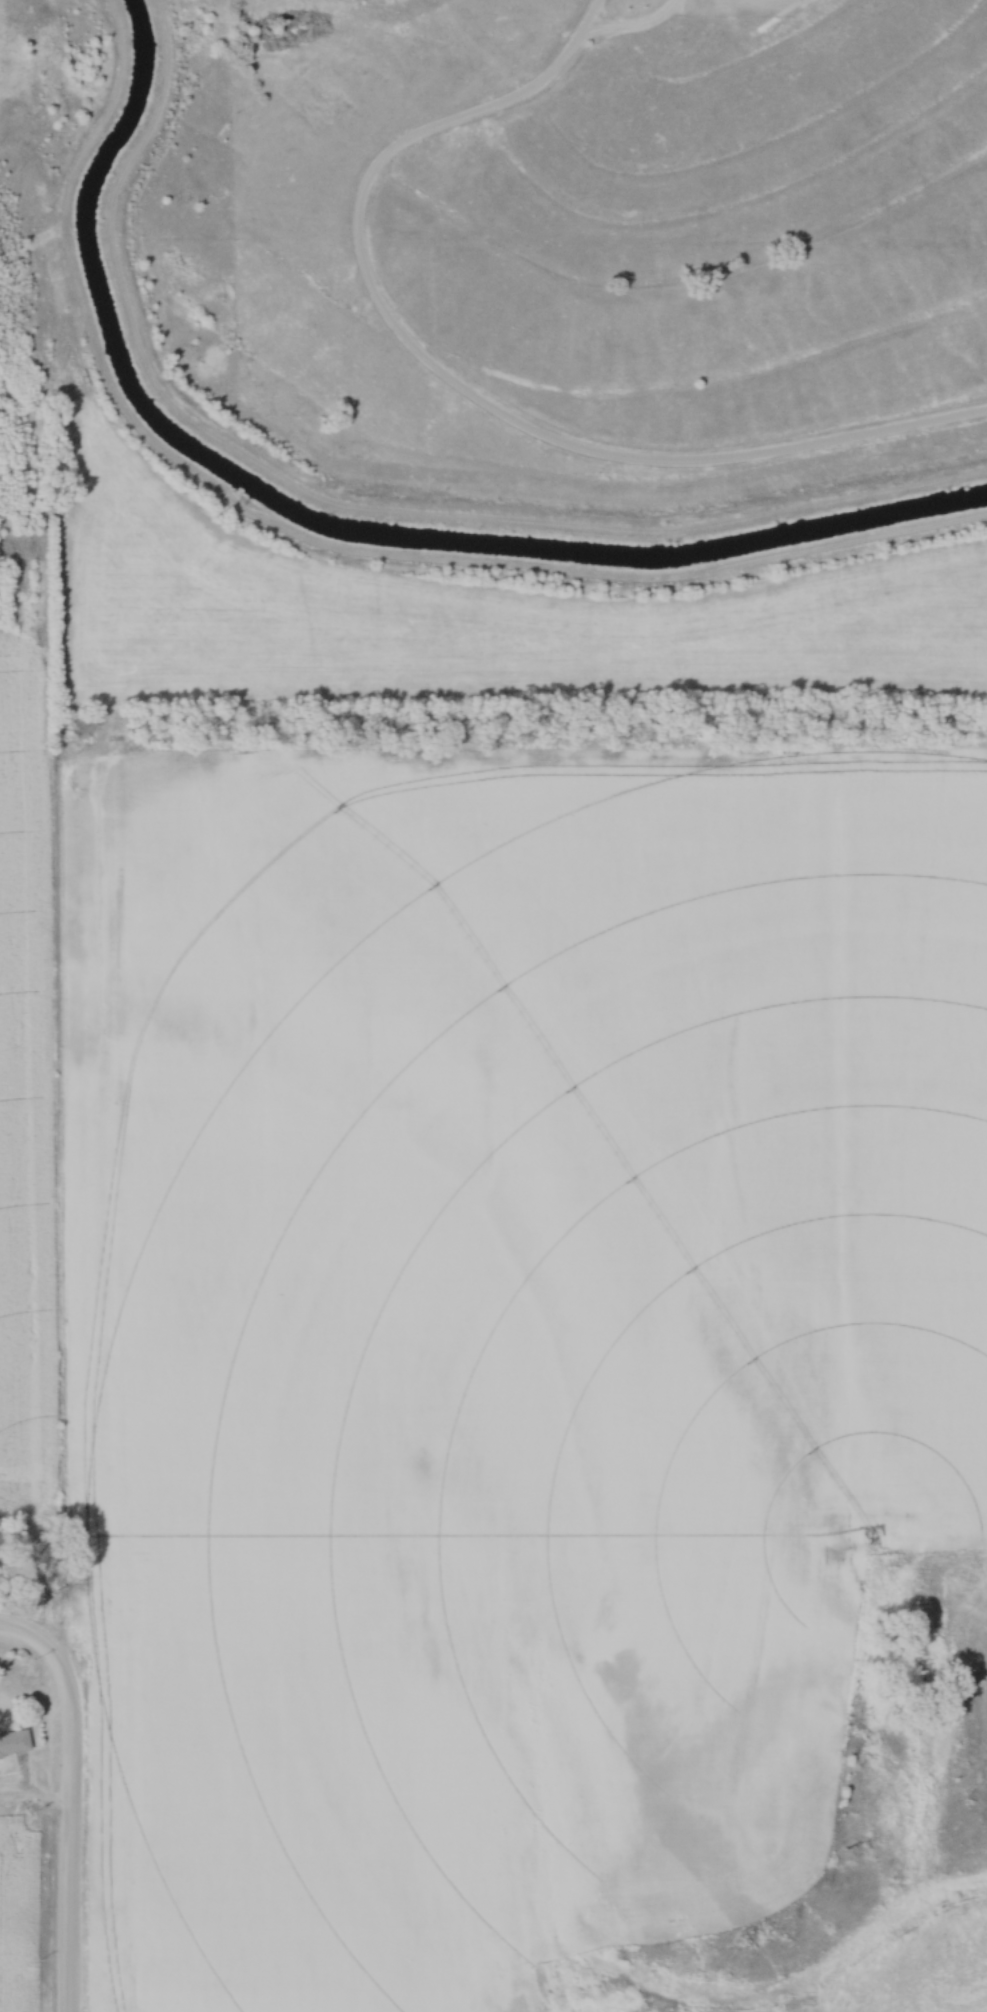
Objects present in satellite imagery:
building: (13, 1743)
road: (34, 1799)
road: (67, 1804)

